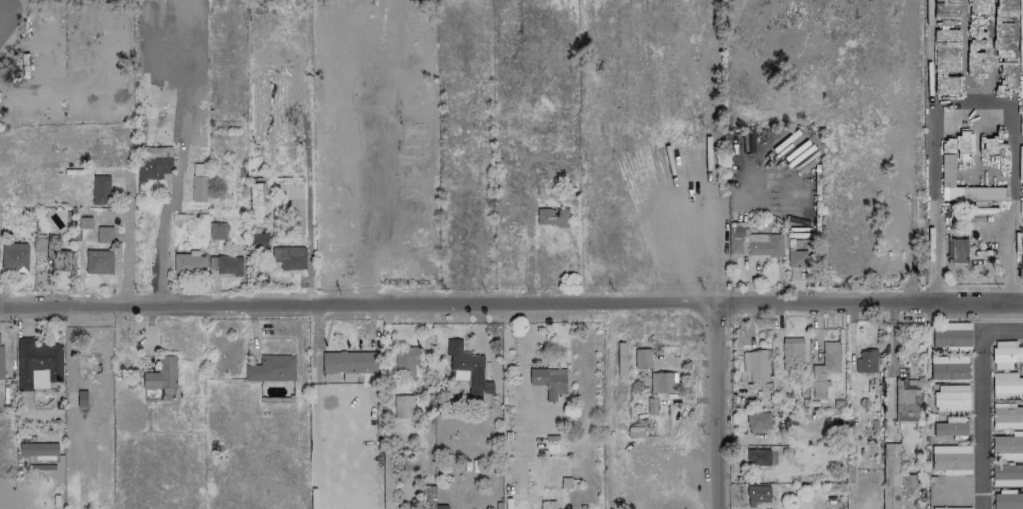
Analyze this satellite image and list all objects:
building: (800, 129)
building: (154, 163)
road: (175, 182)
building: (199, 182)
building: (291, 188)
building: (101, 189)
building: (976, 193)
building: (256, 203)
building: (551, 217)
building: (896, 226)
building: (217, 231)
building: (104, 235)
building: (40, 243)
building: (754, 243)
building: (956, 250)
road: (720, 254)
building: (59, 255)
building: (14, 257)
building: (287, 257)
building: (797, 258)
building: (99, 262)
building: (189, 263)
building: (225, 265)
road: (511, 304)
building: (952, 337)
building: (792, 354)
building: (1006, 354)
building: (642, 359)
building: (1, 361)
building: (866, 361)
building: (37, 362)
building: (350, 362)
building: (405, 362)
building: (755, 365)
building: (825, 368)
building: (946, 368)
building: (272, 369)
building: (466, 369)
building: (161, 374)
building: (549, 381)
building: (663, 382)
building: (1006, 386)
building: (951, 398)
road: (979, 398)
building: (907, 402)
building: (403, 407)
building: (1007, 418)
building: (758, 422)
building: (1007, 447)
building: (38, 449)
building: (758, 457)
building: (949, 458)
building: (1007, 475)
building: (894, 477)
building: (953, 490)
building: (757, 494)
building: (1007, 499)
building: (441, 507)
building: (950, 508)

